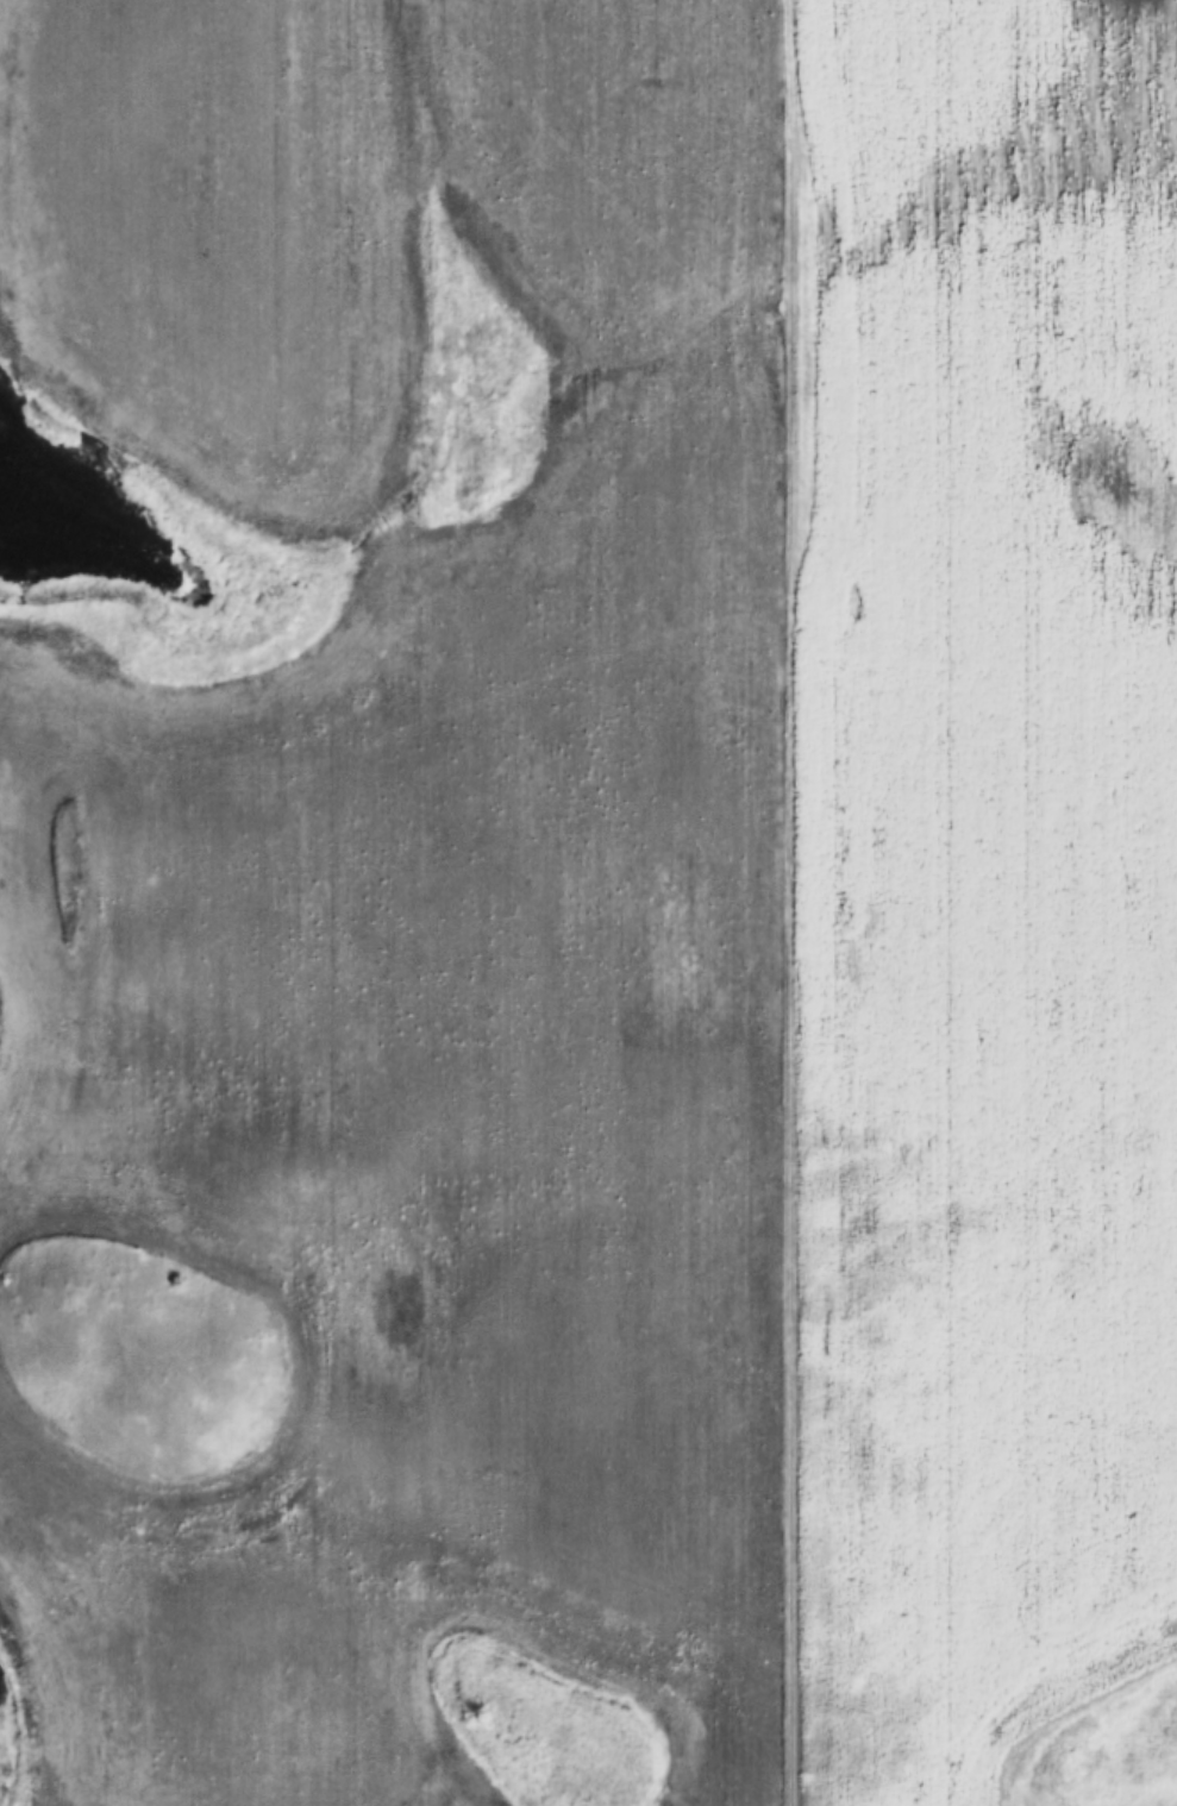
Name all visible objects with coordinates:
road: (788, 903)

